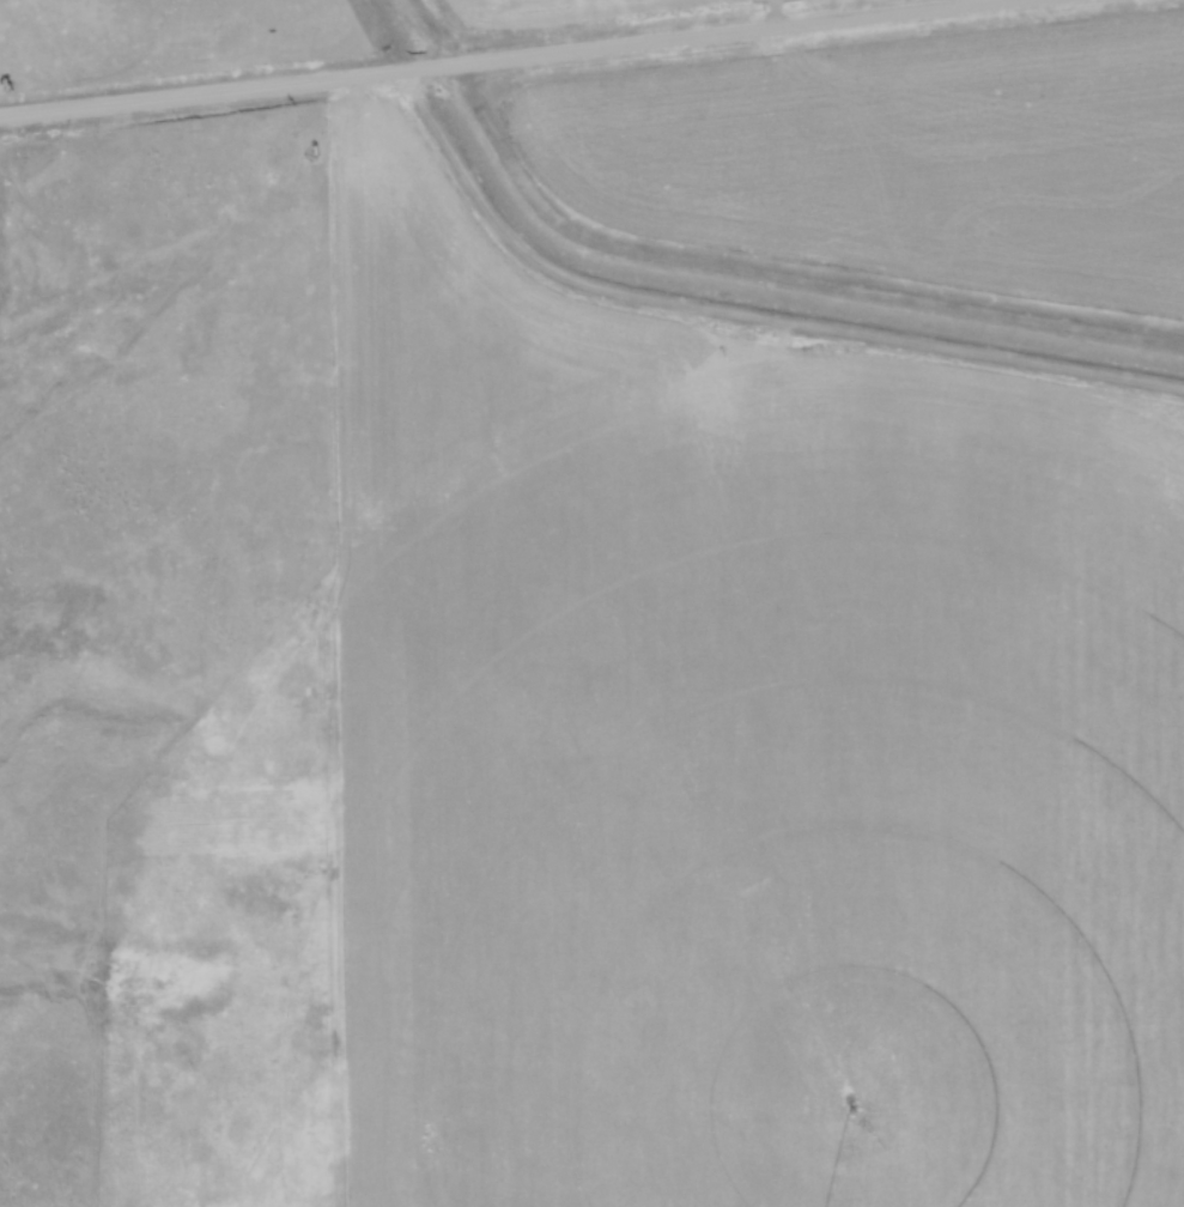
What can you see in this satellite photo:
road: (520, 57)
crop: (767, 806)

